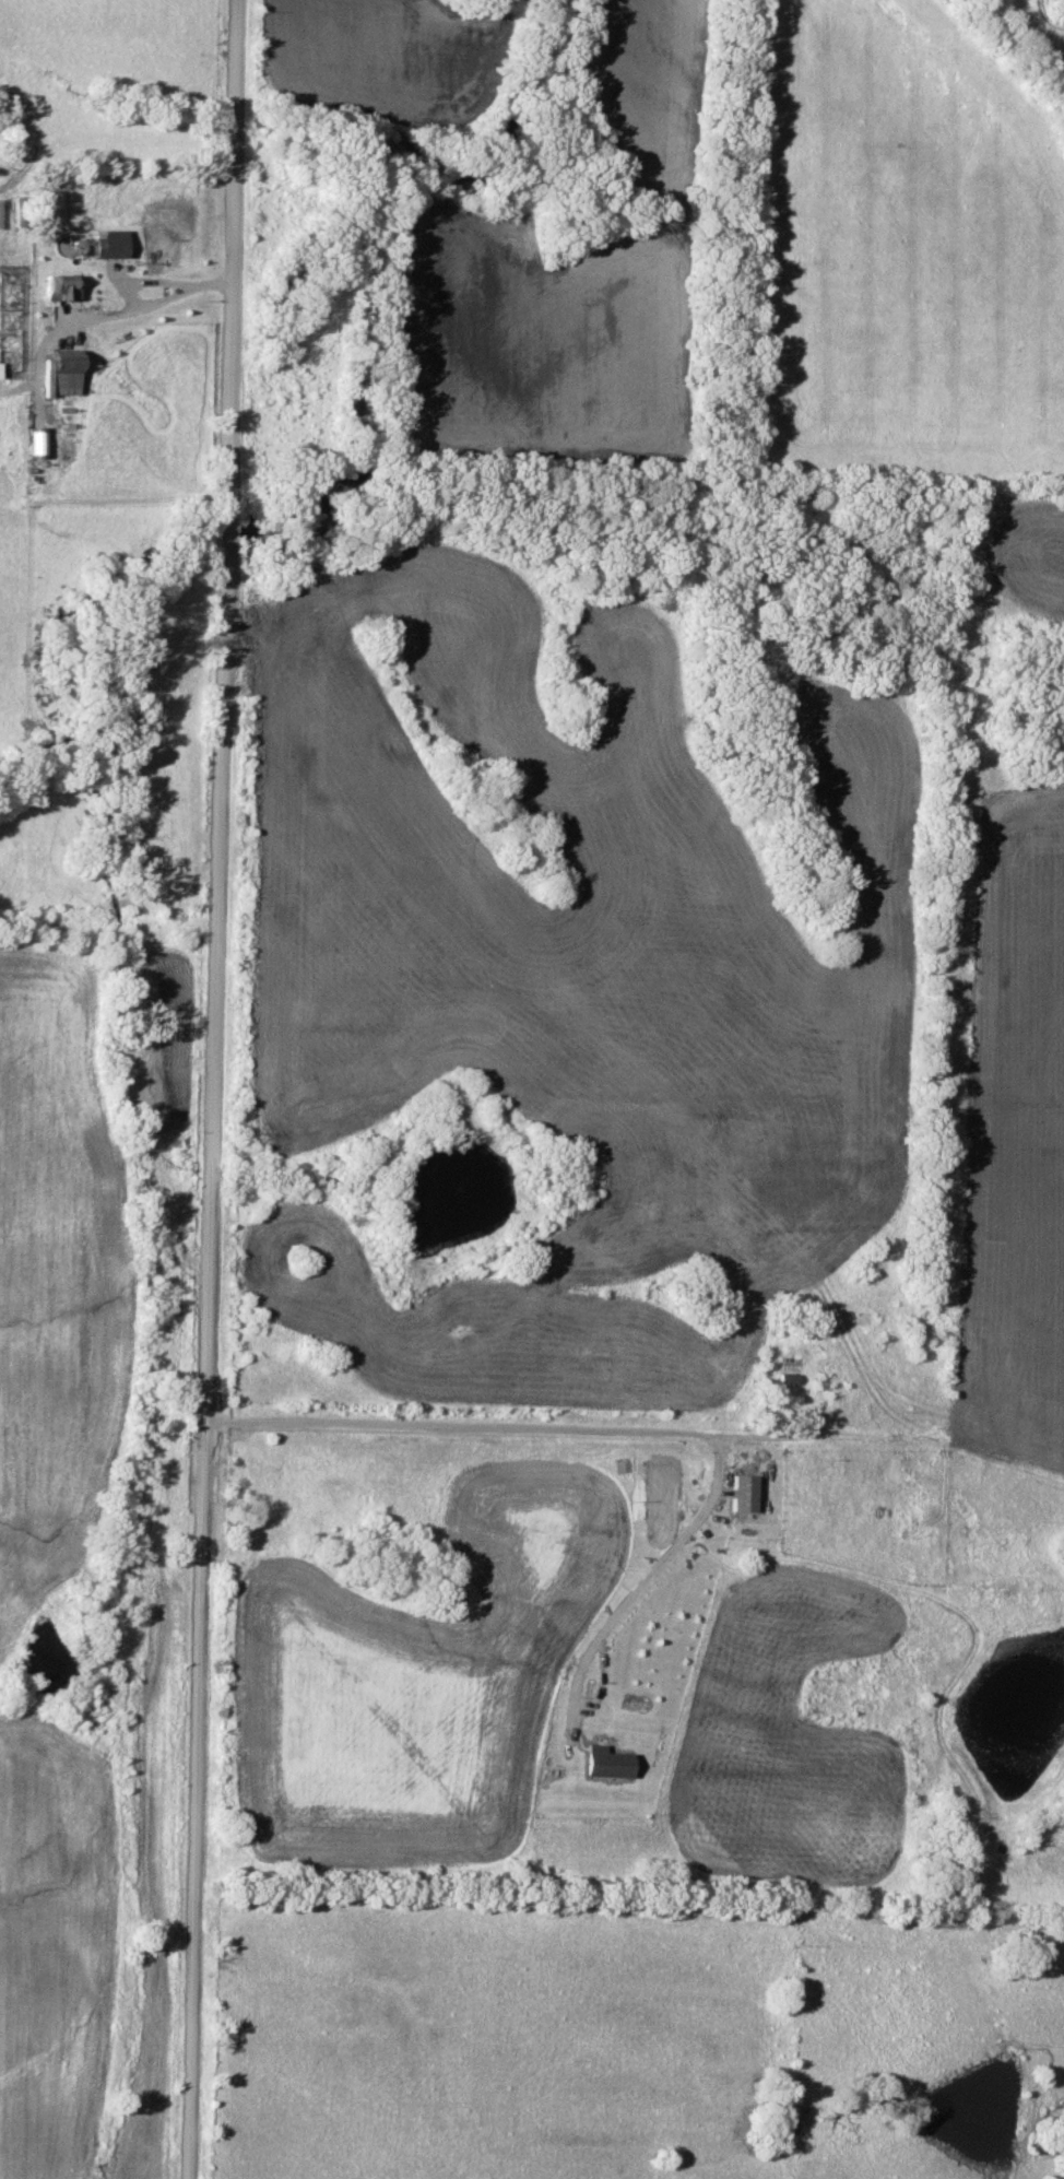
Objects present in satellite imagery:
building: (161, 247)
building: (109, 248)
road: (129, 281)
road: (211, 284)
road: (63, 321)
building: (66, 372)
road: (213, 1088)
building: (785, 1379)
road: (509, 1427)
building: (743, 1493)
road: (651, 1567)
building: (610, 1763)

